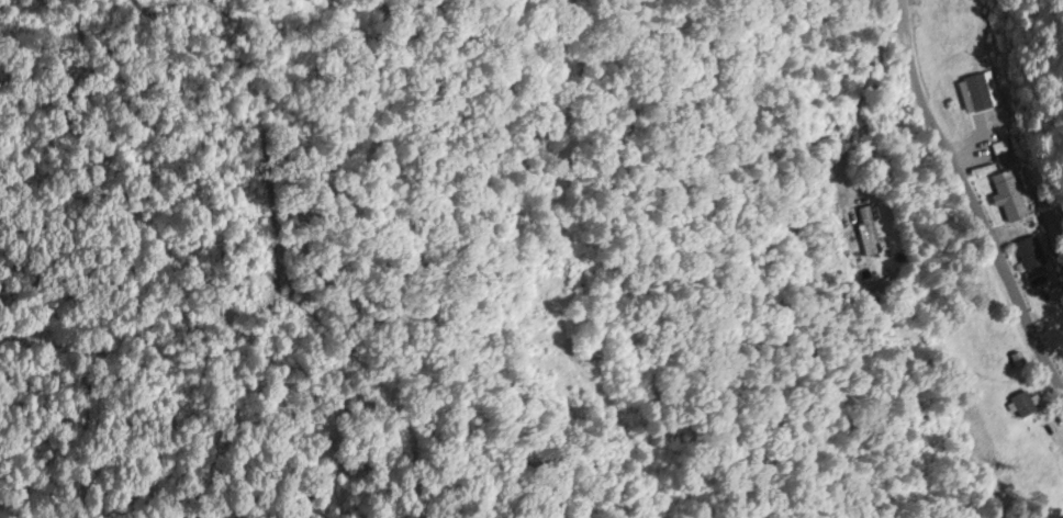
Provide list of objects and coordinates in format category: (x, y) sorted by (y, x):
building: (976, 102)
road: (972, 192)
building: (1008, 195)
building: (869, 230)
building: (1029, 252)
building: (1022, 404)

